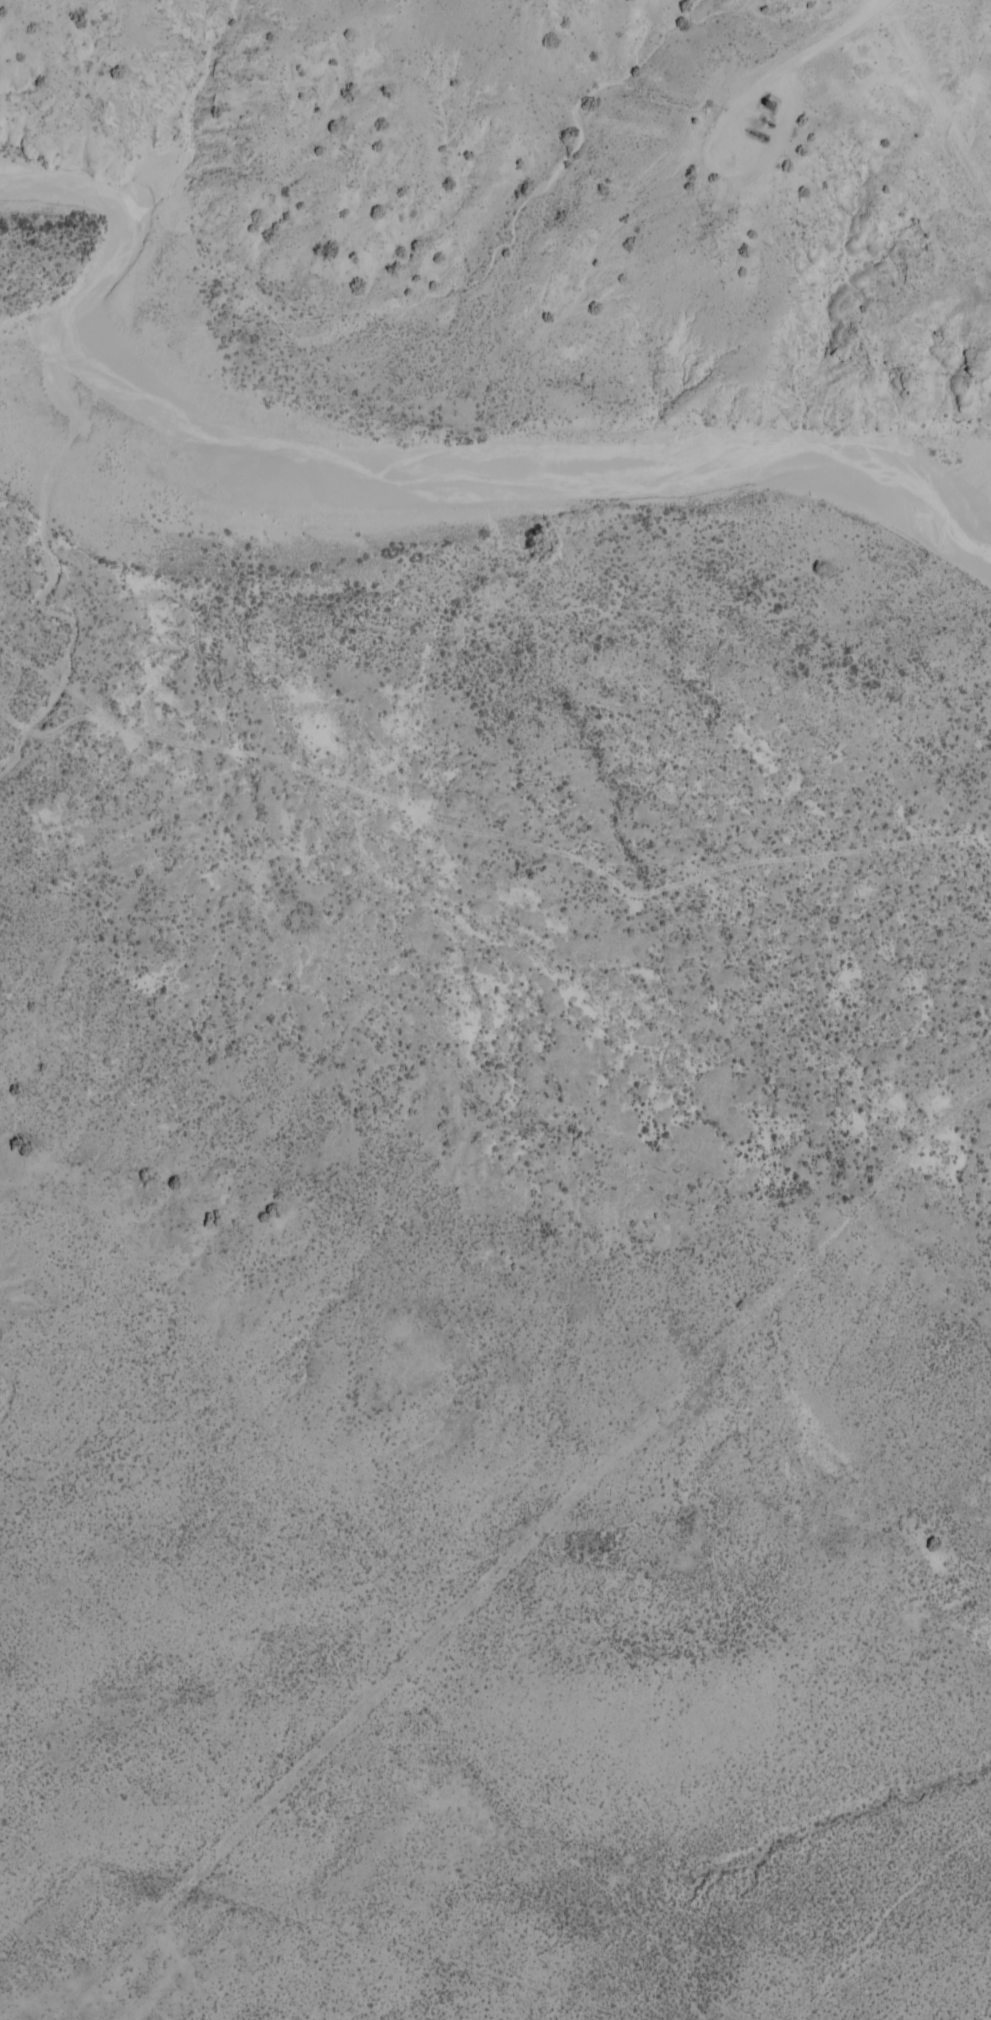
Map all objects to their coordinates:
river: (390, 477)

